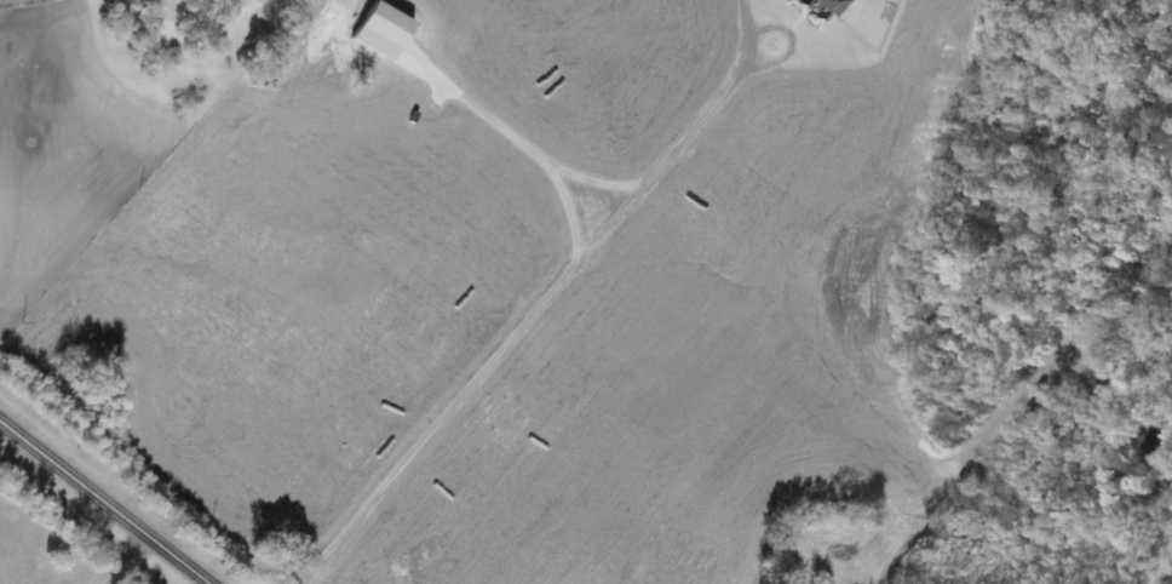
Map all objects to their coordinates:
road: (527, 316)
road: (105, 500)
road: (117, 556)

